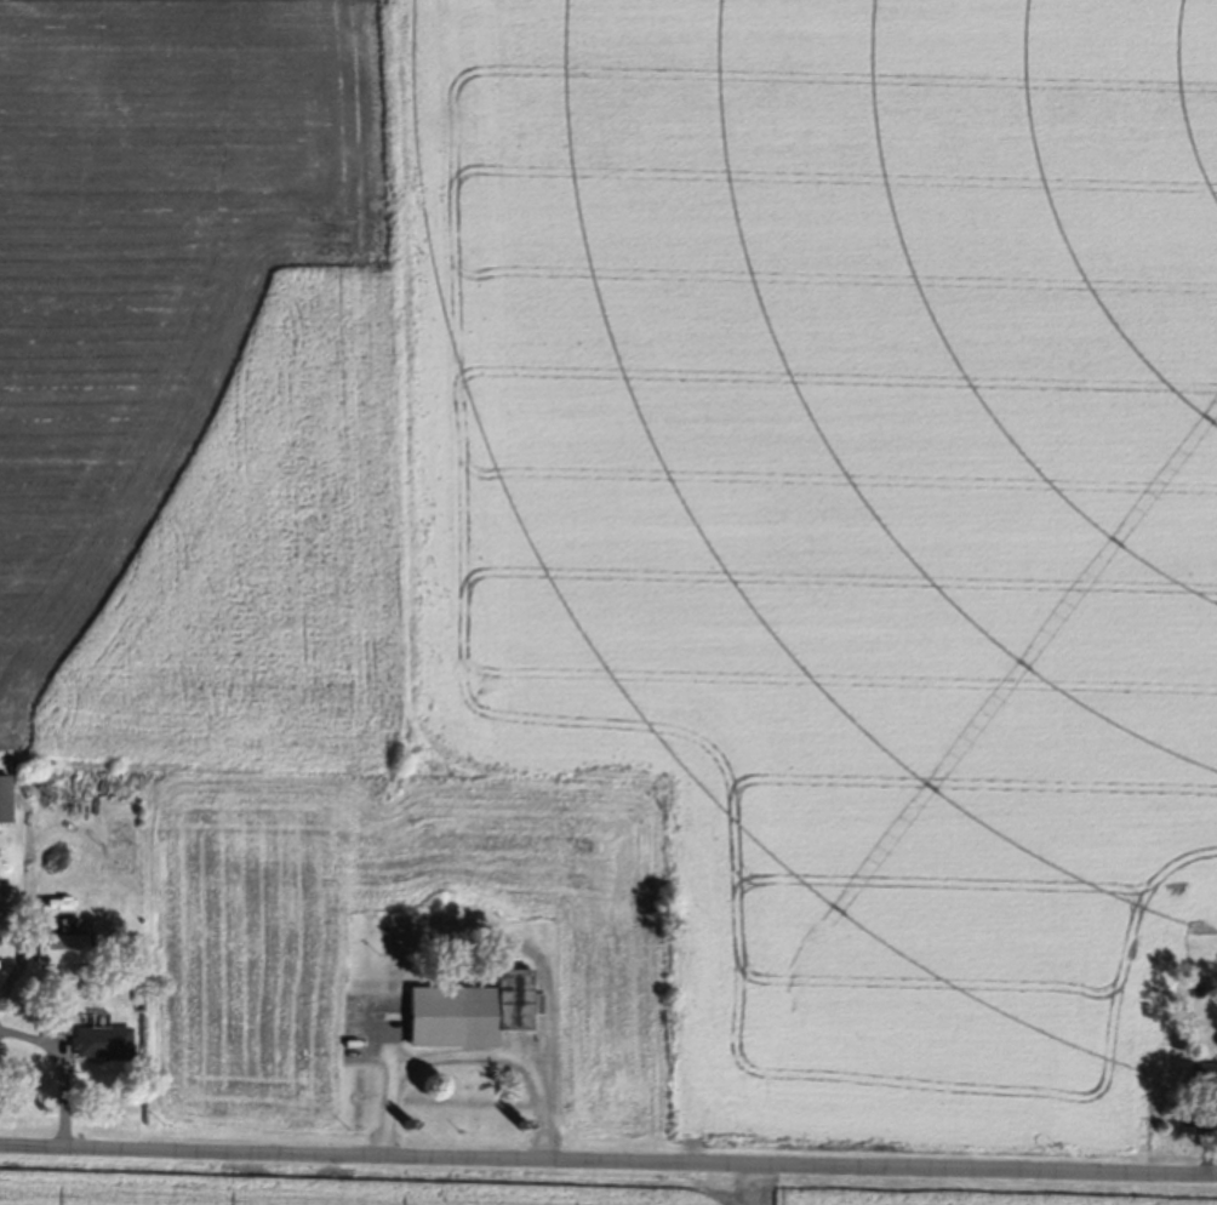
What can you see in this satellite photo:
building: (7, 798)
road: (27, 907)
building: (8, 943)
building: (67, 946)
building: (450, 1013)
building: (104, 1041)
road: (470, 1051)
road: (61, 1066)
building: (1205, 1076)
road: (607, 1157)

